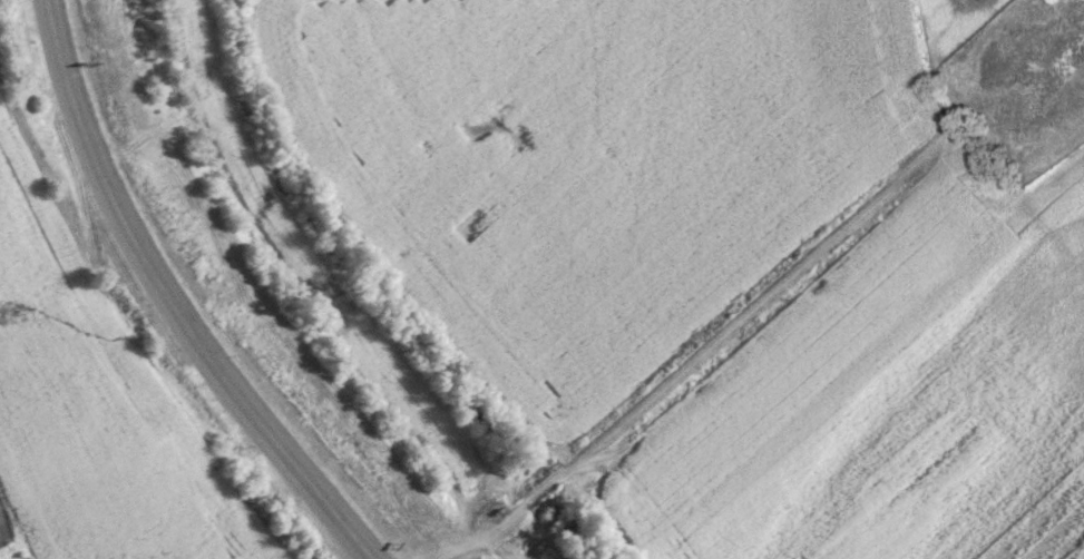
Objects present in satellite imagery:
road: (168, 301)

